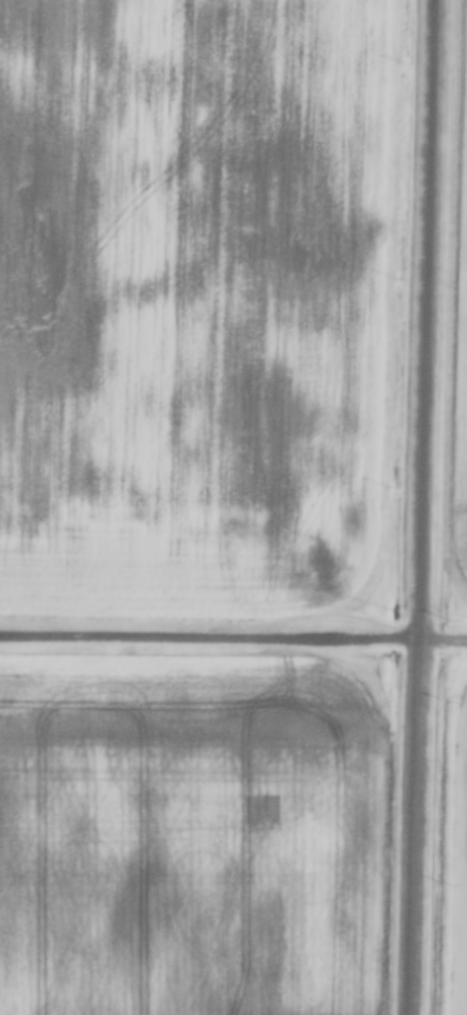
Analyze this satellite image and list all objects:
road: (423, 507)
road: (233, 637)

